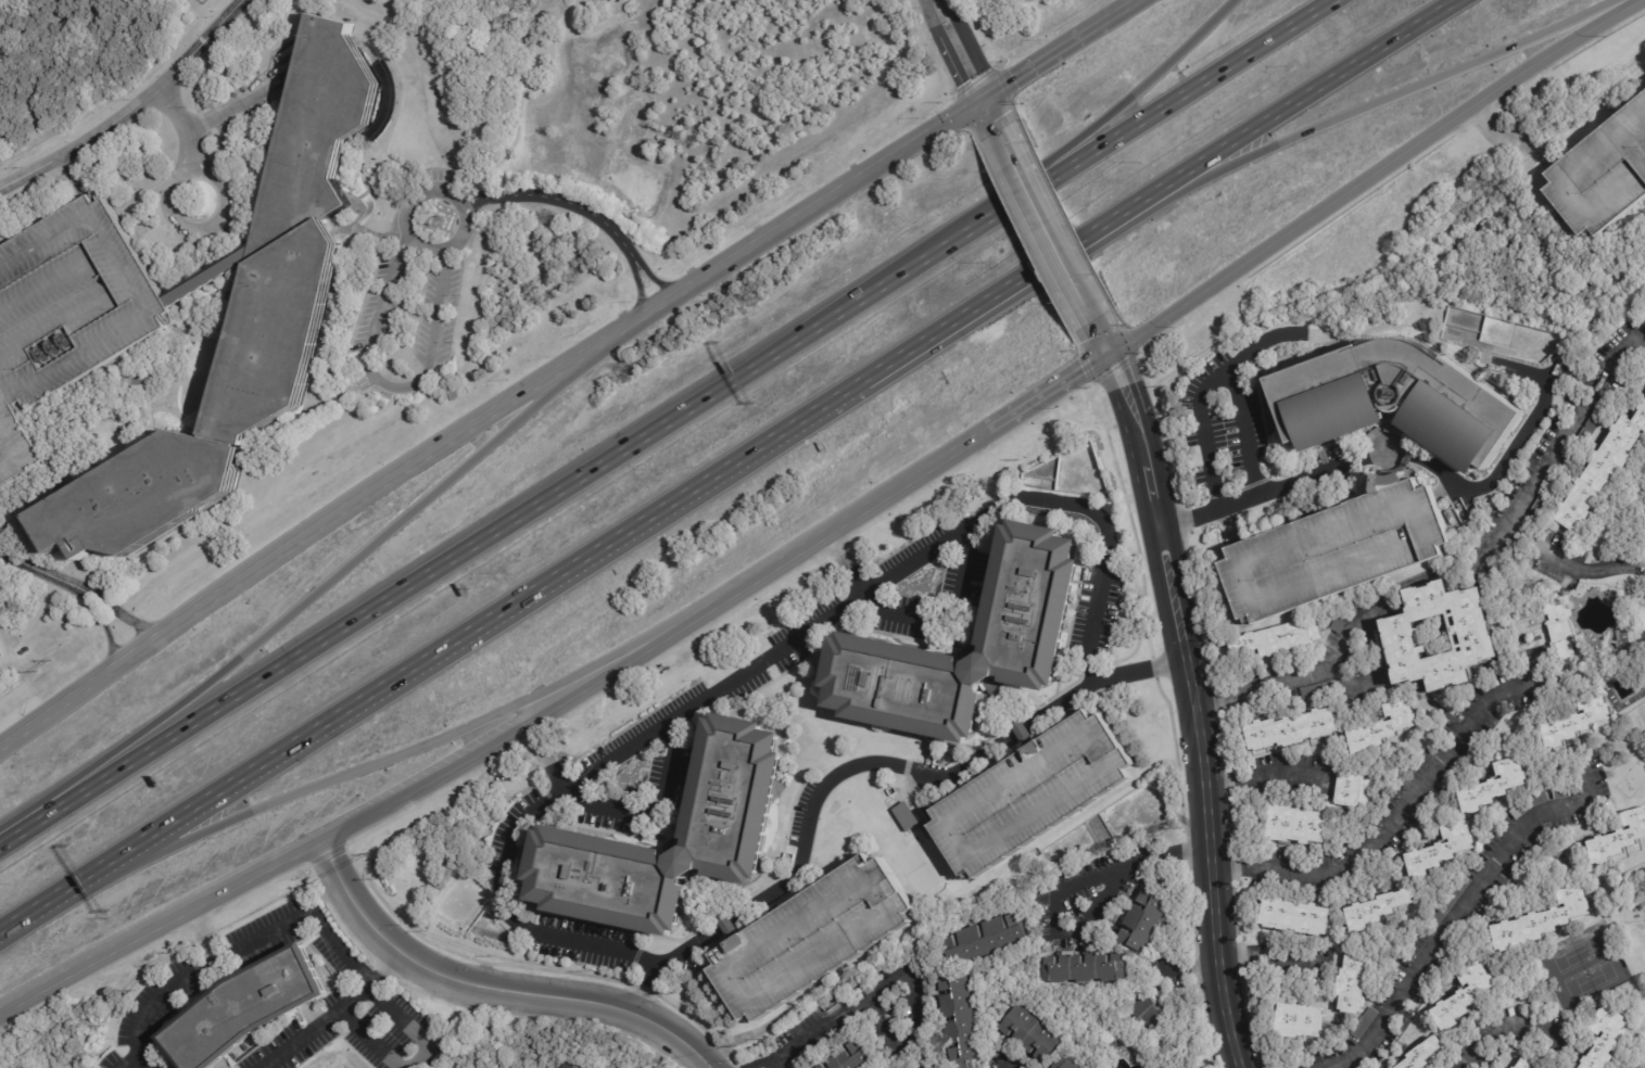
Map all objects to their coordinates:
road: (1126, 9)
road: (213, 17)
road: (1097, 27)
road: (203, 40)
road: (960, 49)
road: (1034, 67)
road: (210, 76)
road: (239, 99)
traffic signals: (986, 99)
road: (1119, 105)
road: (1290, 106)
road: (1369, 106)
road: (130, 107)
road: (992, 114)
road: (204, 122)
road: (1510, 138)
building: (1600, 173)
road: (1372, 174)
road: (72, 176)
road: (235, 186)
road: (140, 196)
road: (562, 201)
road: (175, 219)
road: (1046, 226)
road: (409, 234)
road: (206, 279)
road: (656, 280)
road: (638, 291)
parking lot: (66, 315)
building: (243, 321)
traffic signals: (1109, 356)
road: (1472, 357)
road: (1554, 370)
road: (1214, 379)
road: (392, 385)
road: (1049, 394)
road: (486, 416)
road: (670, 417)
road: (153, 419)
building: (20, 431)
road: (1417, 459)
building: (1569, 460)
building: (1603, 470)
road: (1287, 482)
building: (1389, 482)
road: (858, 518)
road: (610, 545)
road: (837, 545)
parking lot: (1336, 550)
road: (1569, 567)
road: (37, 569)
building: (1040, 592)
road: (1387, 598)
road: (298, 608)
road: (121, 610)
road: (915, 621)
building: (1338, 621)
road: (102, 624)
building: (1558, 626)
building: (1274, 638)
building: (1476, 639)
building: (0, 657)
road: (764, 659)
building: (1349, 659)
road: (1543, 678)
road: (1291, 682)
road: (1192, 689)
building: (1314, 690)
building: (1577, 722)
road: (528, 728)
building: (1291, 728)
building: (1381, 728)
road: (417, 749)
road: (861, 763)
road: (1266, 776)
park: (1633, 778)
building: (1492, 787)
building: (1353, 790)
building: (1036, 791)
building: (1560, 792)
building: (1529, 803)
road: (616, 806)
building: (904, 816)
building: (736, 824)
building: (1295, 824)
building: (1619, 838)
road: (4, 841)
building: (1441, 850)
road: (1060, 889)
building: (1300, 890)
building: (1450, 900)
road: (49, 906)
road: (1464, 906)
building: (1376, 910)
building: (1295, 917)
building: (1142, 920)
building: (1540, 921)
road: (159, 923)
road: (204, 932)
building: (817, 936)
building: (983, 938)
road: (1276, 958)
park: (1583, 966)
building: (1080, 968)
road: (197, 970)
building: (1353, 982)
road: (496, 990)
road: (377, 992)
building: (1463, 996)
building: (256, 1008)
road: (333, 1012)
building: (1147, 1012)
building: (956, 1020)
building: (1298, 1020)
road: (918, 1024)
building: (1363, 1024)
road: (1519, 1026)
building: (1029, 1033)
road: (366, 1039)
building: (1605, 1039)
road: (802, 1042)
building: (1421, 1054)
building: (859, 1057)
road: (127, 1061)
building: (1063, 1063)
building: (1528, 1064)
building: (924, 1065)
building: (568, 1066)
building: (575, 1066)
building: (1514, 1067)

